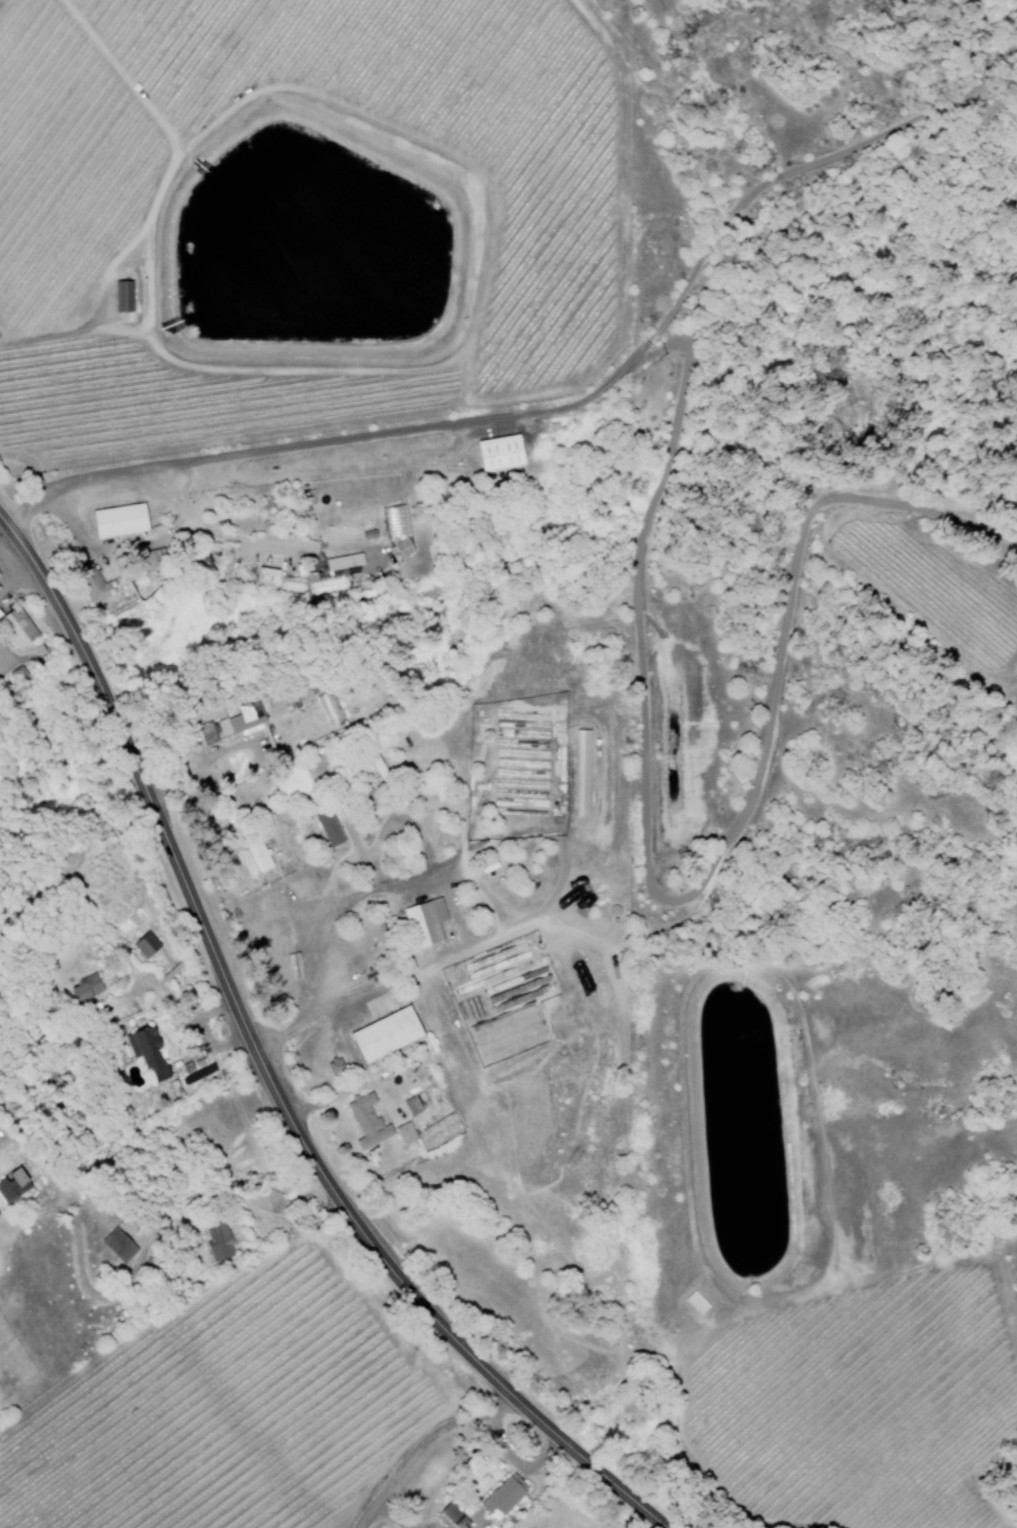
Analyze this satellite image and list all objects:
road: (773, 180)
building: (121, 297)
road: (360, 431)
building: (498, 454)
building: (117, 521)
building: (403, 548)
building: (333, 572)
building: (266, 576)
building: (92, 583)
building: (15, 628)
building: (246, 717)
building: (206, 733)
building: (581, 773)
building: (329, 828)
building: (255, 856)
road: (697, 908)
building: (424, 922)
building: (145, 944)
building: (85, 988)
building: (384, 1034)
building: (147, 1052)
building: (334, 1065)
road: (267, 1066)
building: (412, 1106)
building: (367, 1122)
building: (405, 1133)
building: (12, 1186)
building: (218, 1242)
building: (118, 1245)
building: (503, 1494)
building: (450, 1513)

